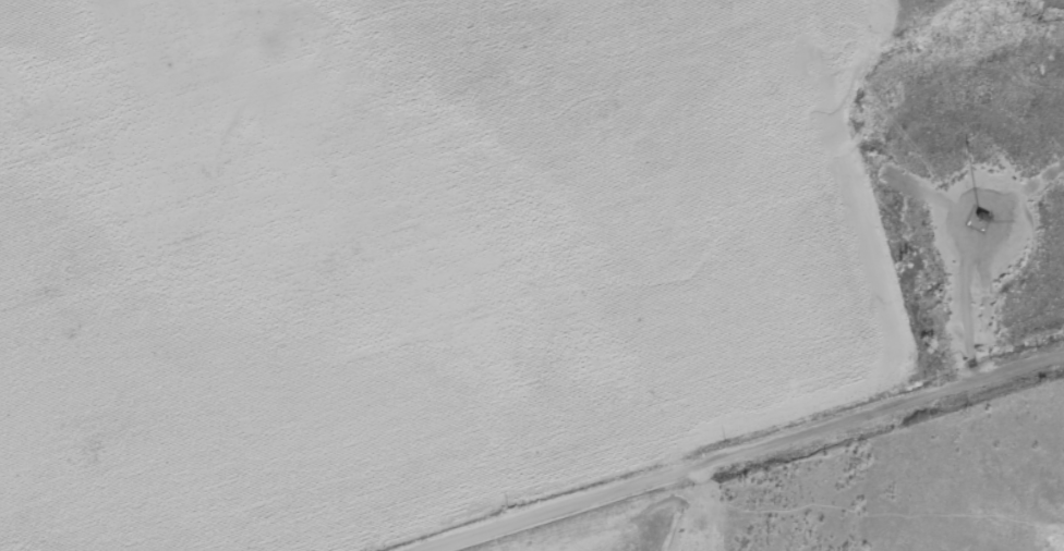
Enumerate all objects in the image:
road: (743, 452)

